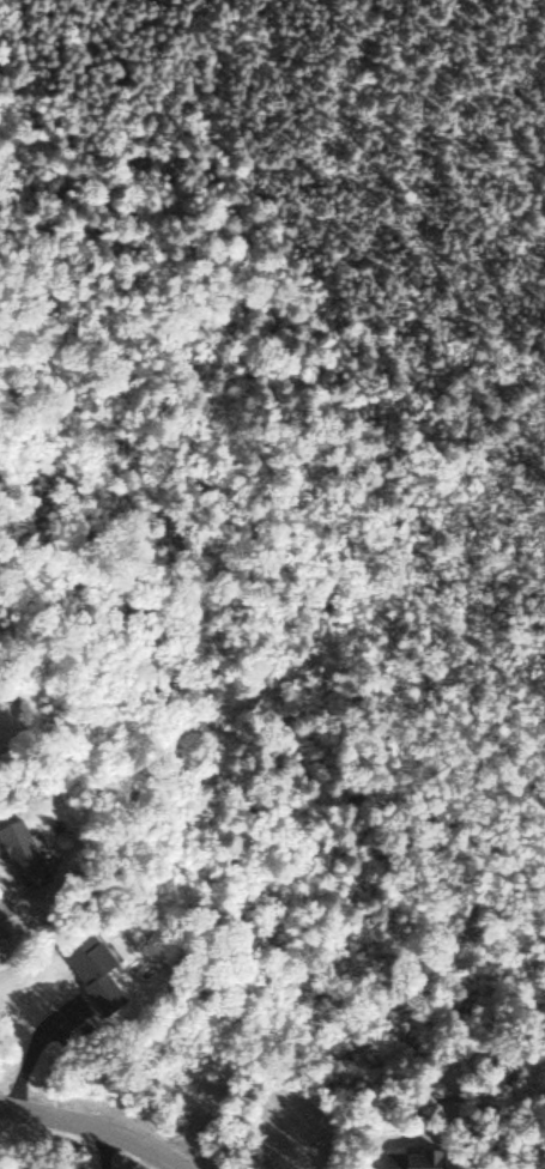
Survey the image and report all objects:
building: (22, 853)
building: (93, 969)
road: (101, 1122)
building: (416, 1158)

